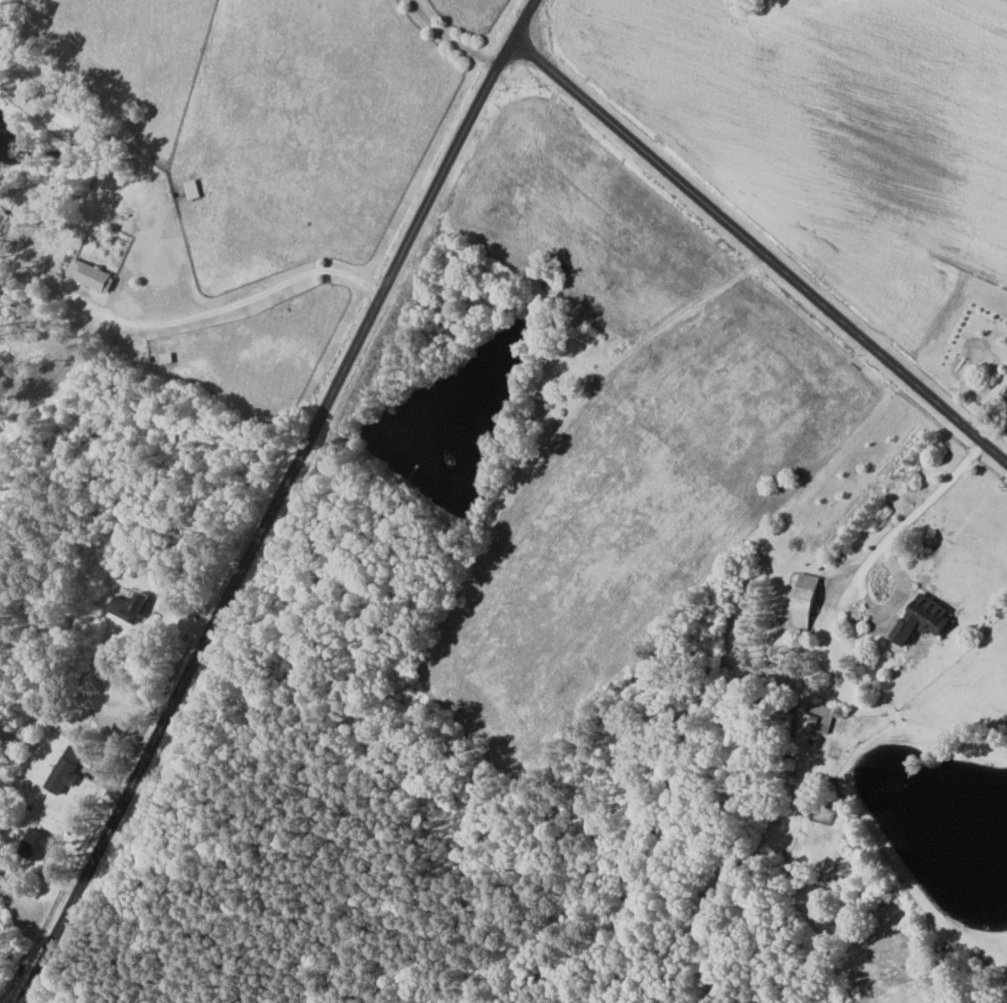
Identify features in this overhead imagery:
building: (193, 188)
road: (752, 261)
building: (91, 275)
road: (275, 500)
building: (805, 601)
building: (131, 606)
building: (924, 618)
building: (821, 717)
building: (66, 770)
building: (35, 844)

